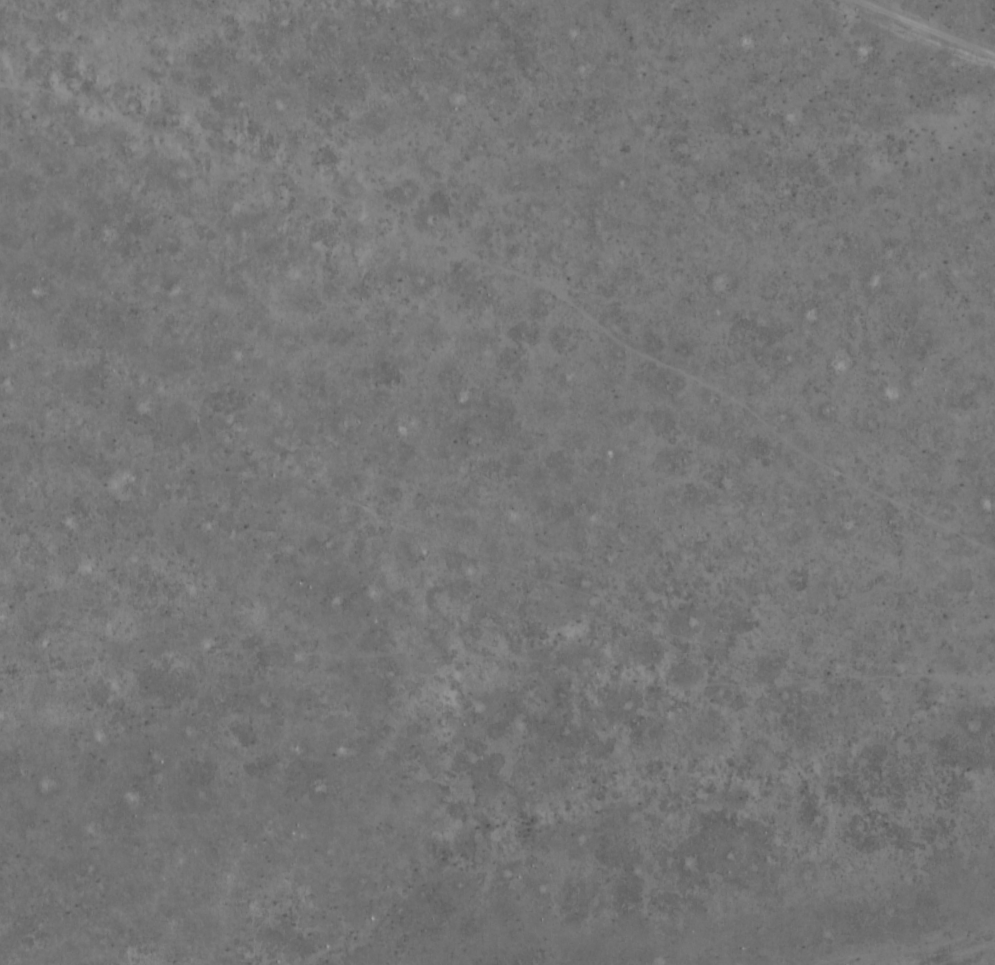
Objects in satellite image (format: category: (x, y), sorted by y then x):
road: (925, 26)

